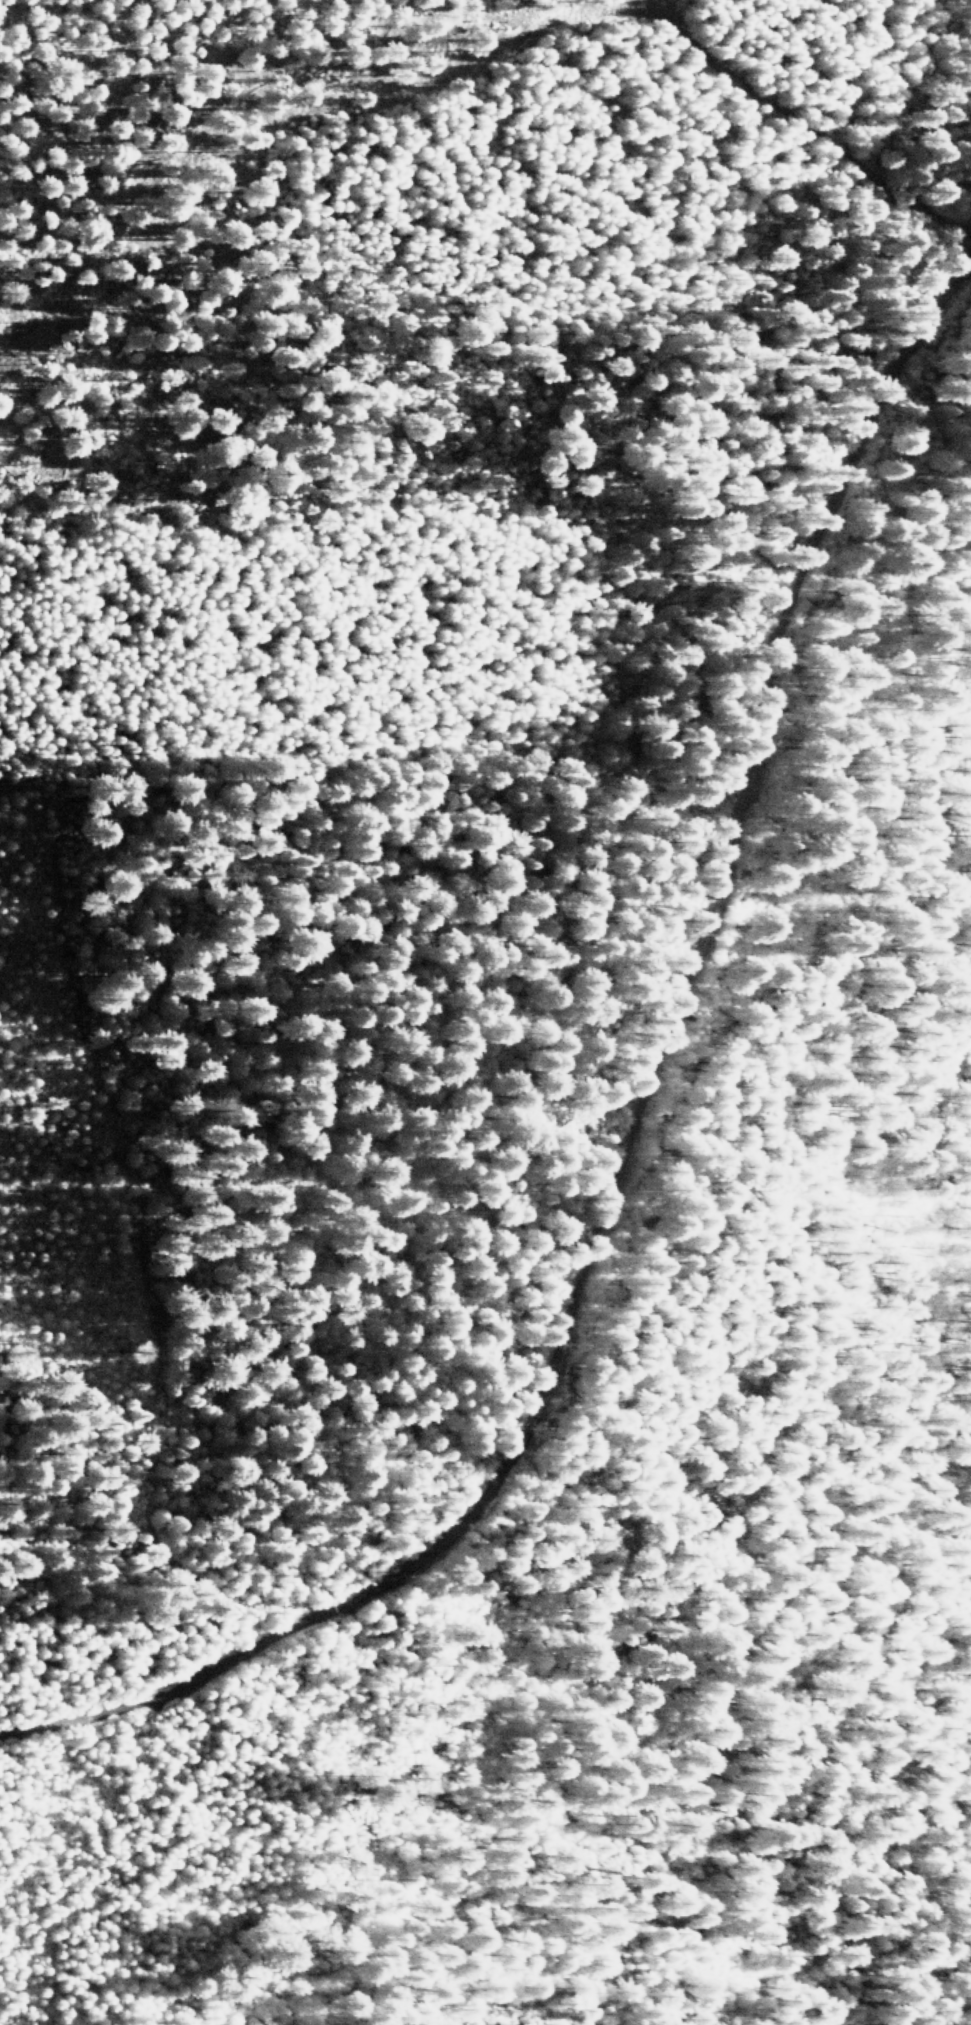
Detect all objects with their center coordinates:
road: (620, 1115)

